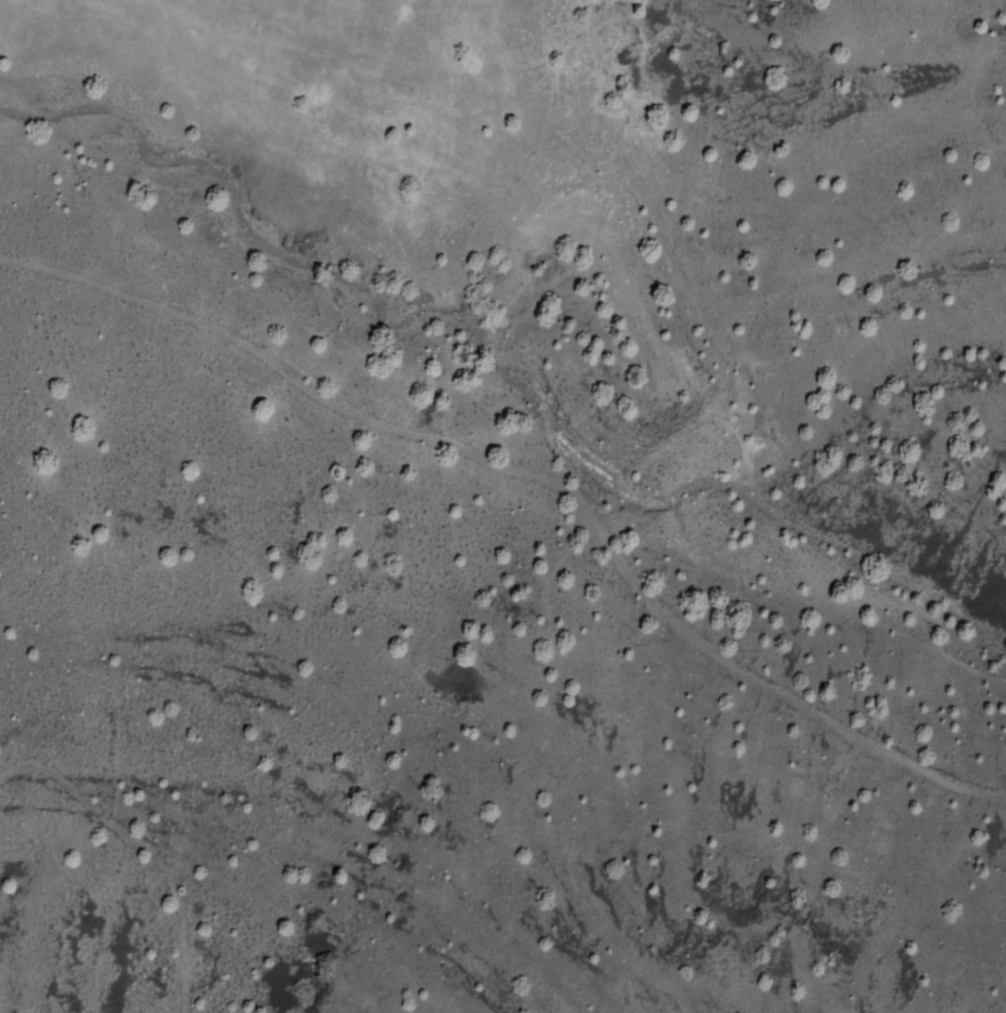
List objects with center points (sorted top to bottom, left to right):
road: (536, 478)

